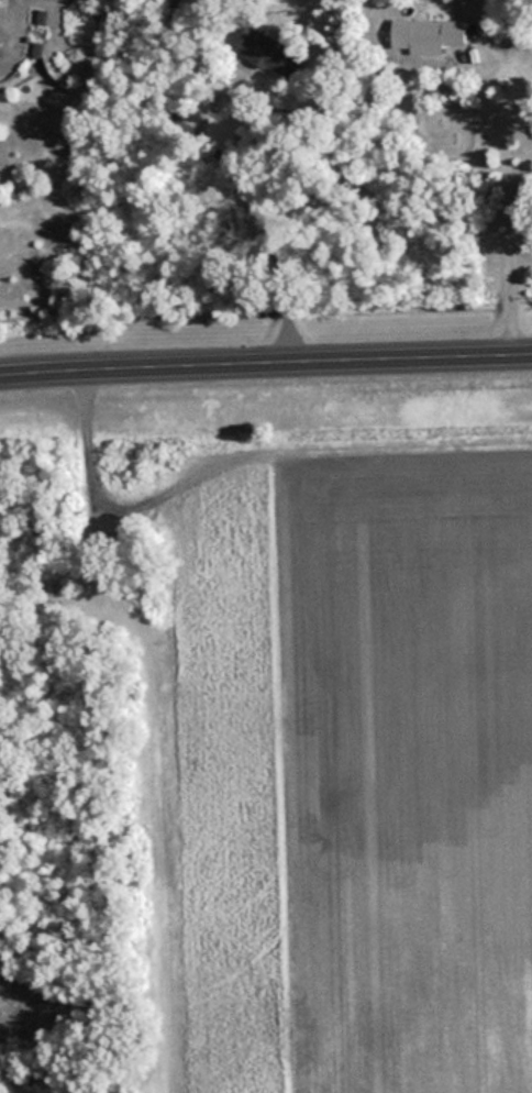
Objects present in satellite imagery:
building: (479, 7)
building: (43, 16)
building: (440, 34)
building: (266, 49)
road: (265, 360)

